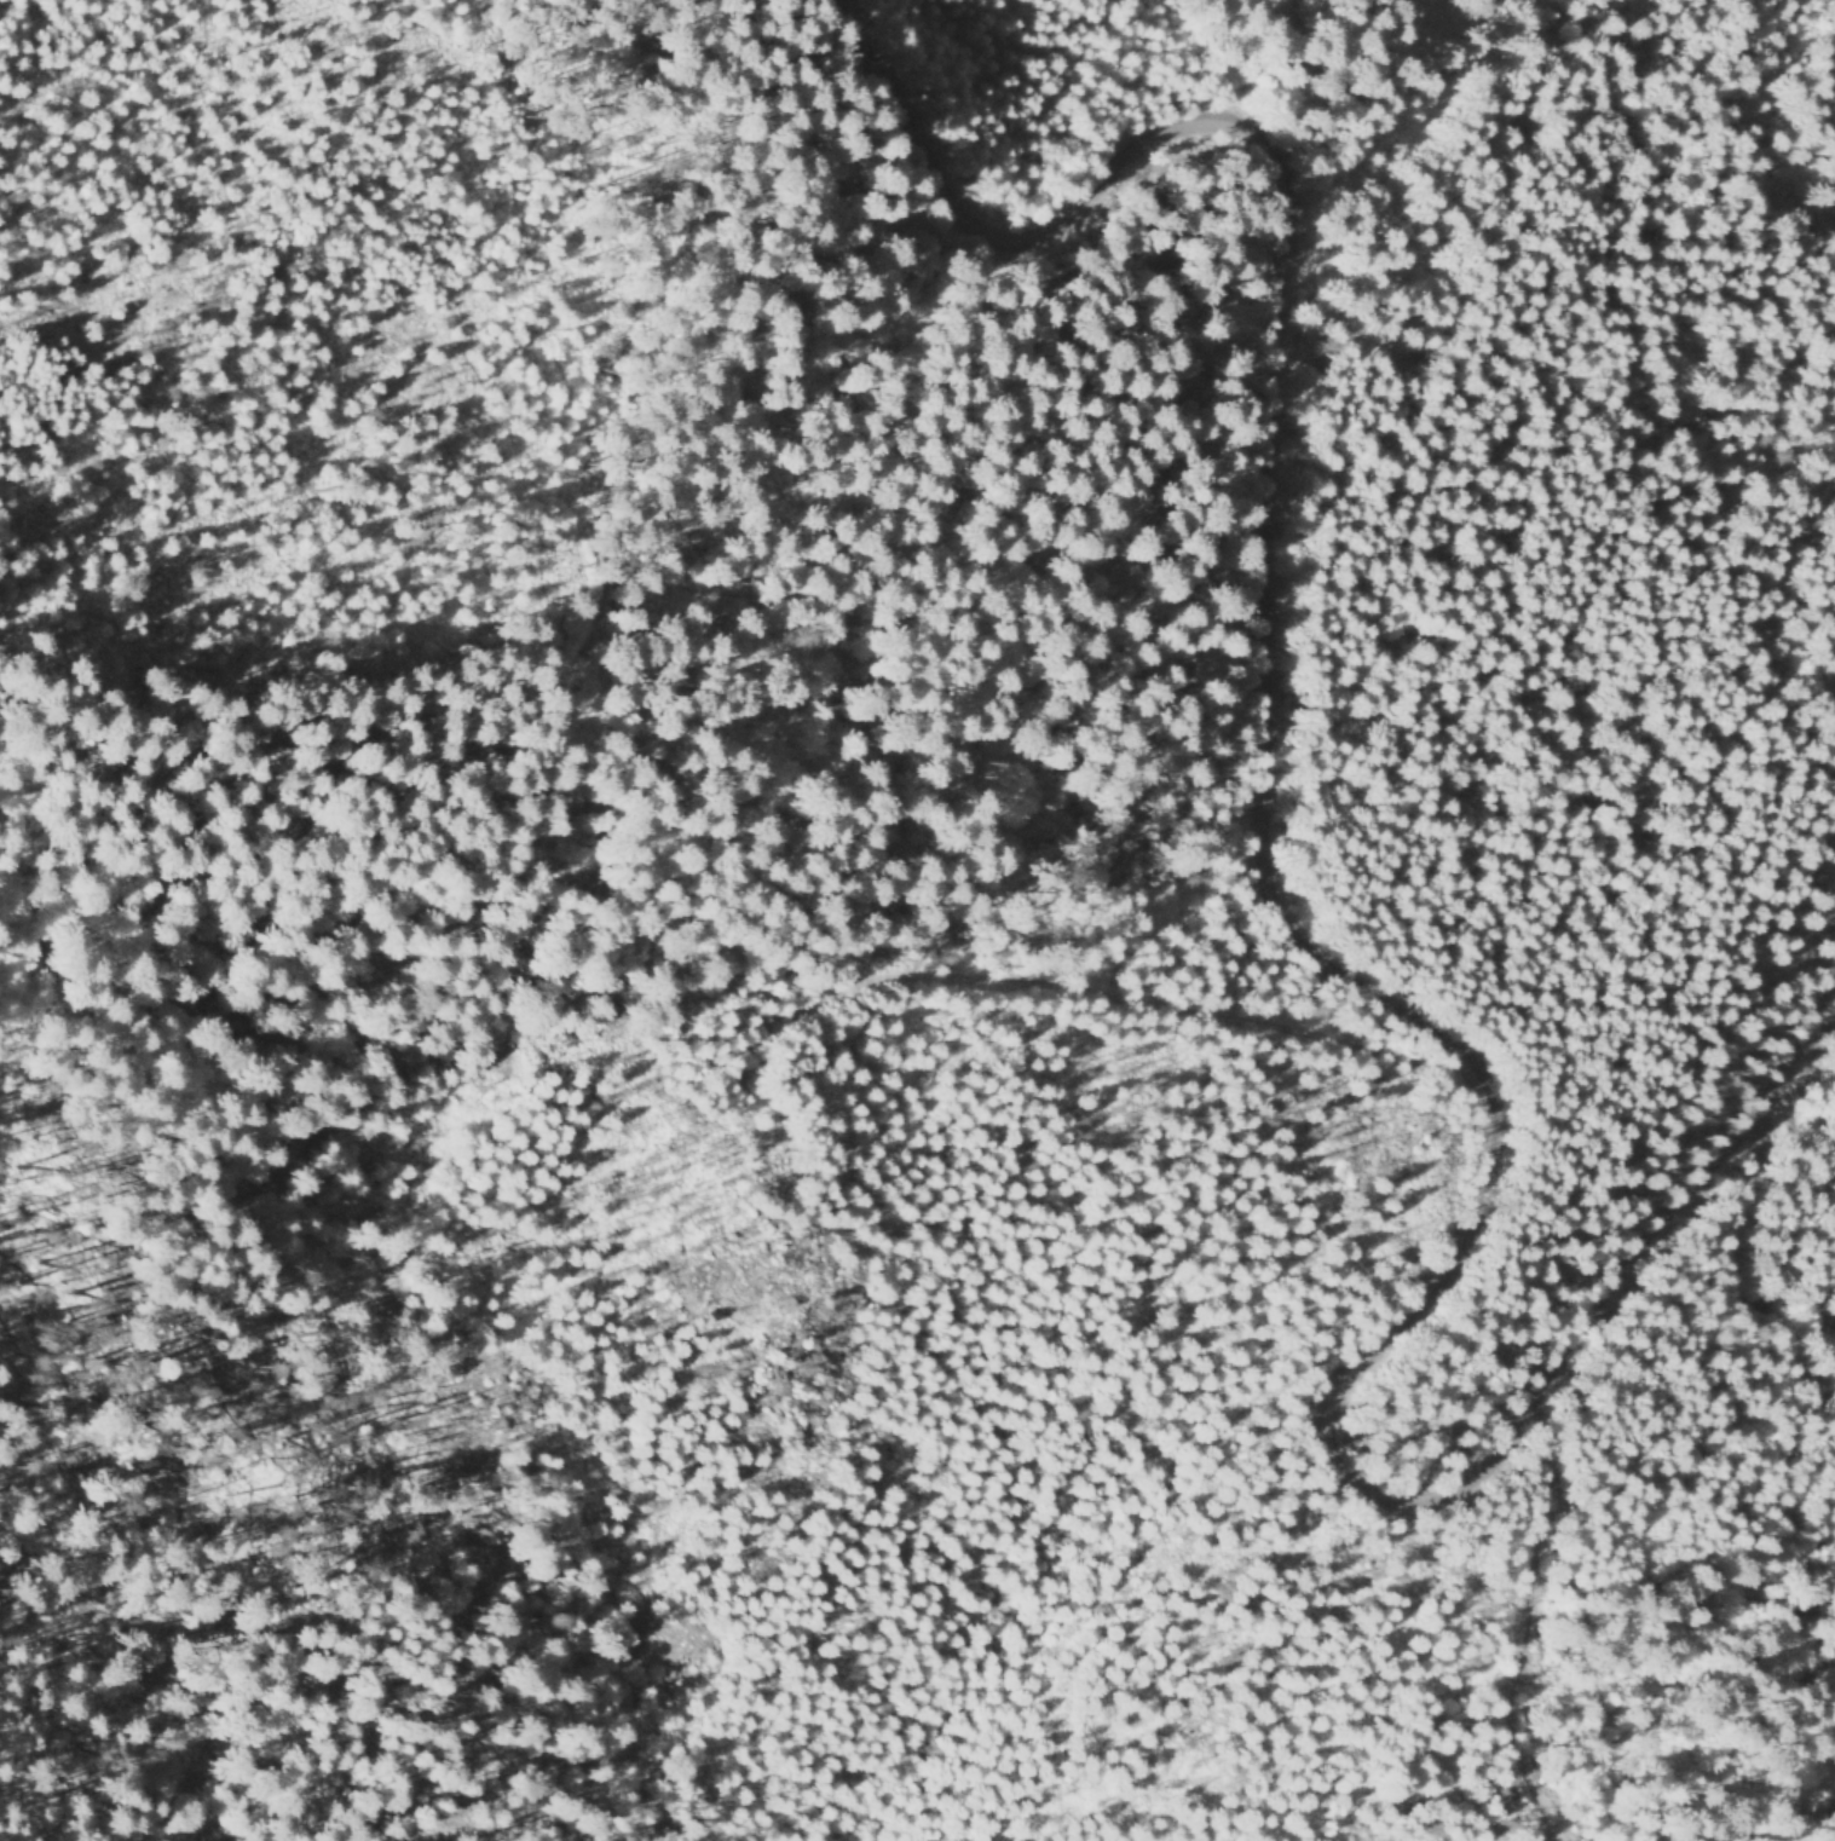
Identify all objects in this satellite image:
road: (1311, 937)
road: (1739, 1240)

